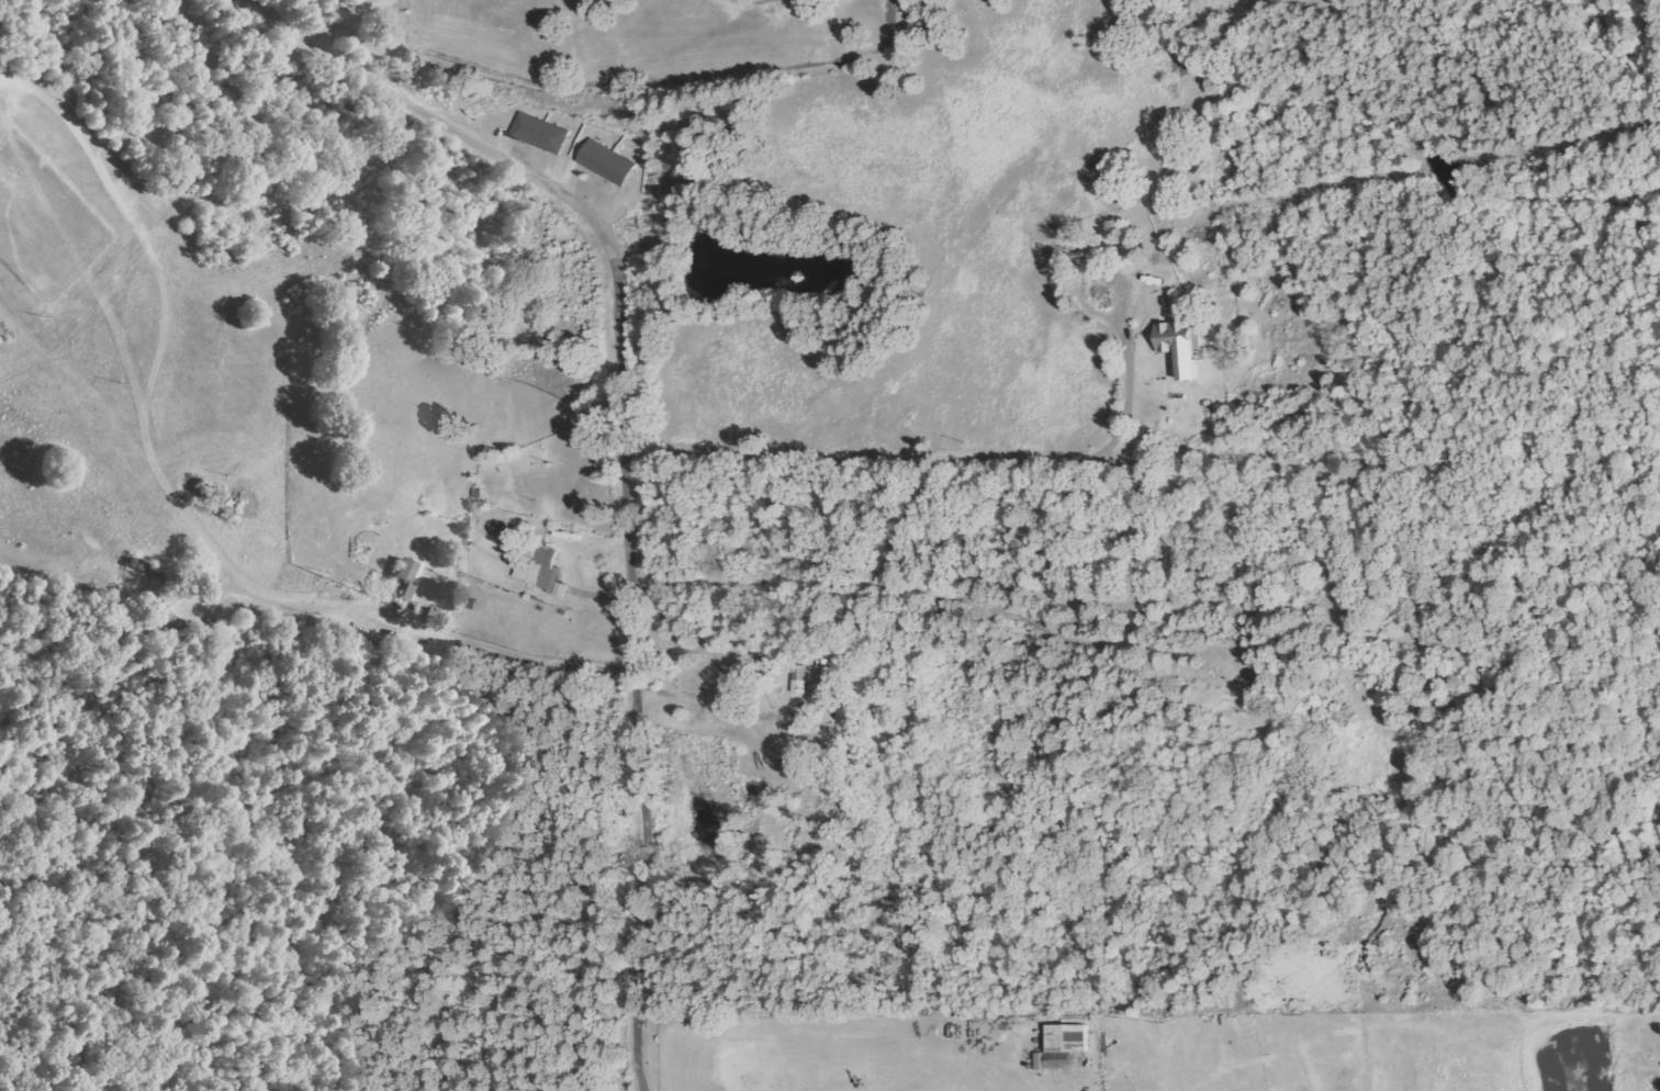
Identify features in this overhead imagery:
building: (537, 133)
building: (604, 161)
building: (1176, 345)
road: (622, 448)
building: (539, 570)
building: (406, 576)
building: (161, 616)
building: (798, 679)
building: (1062, 1046)

